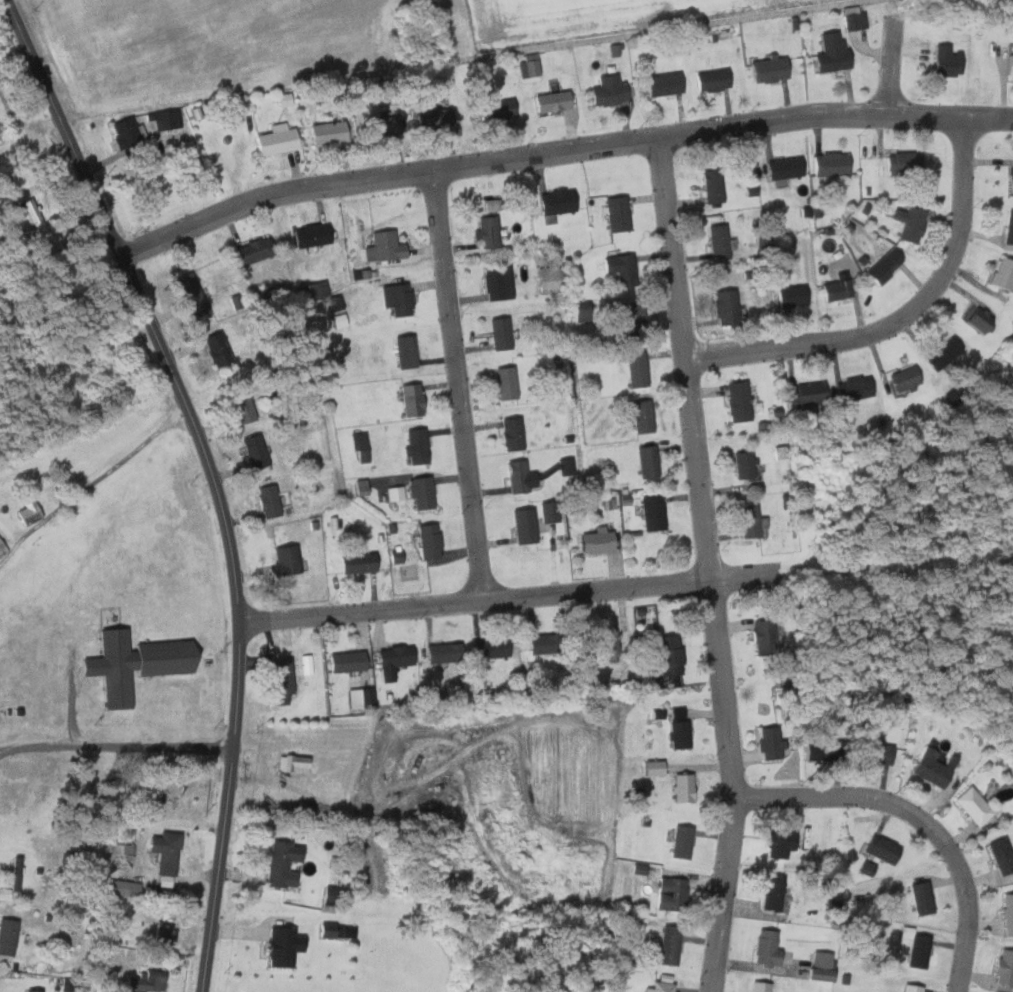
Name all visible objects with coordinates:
building: (852, 19)
building: (830, 53)
building: (945, 61)
road: (893, 65)
building: (1010, 67)
building: (767, 70)
building: (710, 81)
building: (662, 85)
building: (609, 88)
building: (552, 103)
building: (0, 104)
building: (496, 110)
building: (432, 120)
building: (381, 127)
building: (326, 133)
building: (133, 135)
building: (275, 140)
road: (561, 152)
building: (902, 164)
building: (829, 165)
building: (783, 169)
building: (1011, 181)
building: (713, 186)
building: (556, 202)
road: (99, 206)
building: (617, 214)
building: (36, 216)
building: (908, 224)
building: (1009, 229)
building: (488, 232)
building: (310, 236)
building: (762, 239)
building: (718, 242)
building: (384, 247)
building: (252, 251)
building: (882, 266)
building: (621, 269)
building: (1002, 274)
building: (551, 280)
building: (498, 283)
building: (836, 288)
building: (312, 291)
building: (191, 295)
building: (792, 296)
building: (397, 299)
building: (335, 302)
building: (725, 307)
building: (633, 318)
road: (903, 319)
building: (978, 319)
building: (337, 321)
building: (500, 334)
building: (216, 351)
building: (405, 352)
building: (941, 354)
building: (636, 369)
building: (904, 379)
building: (506, 383)
road: (457, 385)
building: (853, 389)
building: (805, 394)
building: (411, 400)
building: (737, 401)
building: (240, 407)
building: (640, 416)
road: (180, 423)
building: (512, 434)
building: (361, 446)
building: (416, 446)
building: (254, 452)
building: (647, 462)
building: (743, 465)
building: (517, 476)
road: (94, 481)
building: (421, 493)
building: (268, 502)
building: (31, 510)
building: (549, 512)
building: (652, 514)
building: (748, 522)
building: (524, 526)
building: (428, 541)
building: (595, 541)
building: (2, 550)
building: (393, 557)
building: (285, 560)
building: (357, 563)
road: (710, 565)
road: (755, 576)
road: (476, 601)
building: (764, 637)
building: (546, 644)
building: (602, 644)
building: (491, 649)
building: (443, 653)
building: (669, 656)
building: (396, 657)
building: (347, 662)
building: (139, 664)
building: (282, 677)
road: (238, 699)
building: (678, 735)
building: (768, 744)
road: (116, 746)
building: (821, 751)
building: (875, 754)
building: (295, 764)
building: (652, 769)
building: (930, 769)
building: (683, 788)
building: (973, 806)
building: (152, 809)
road: (921, 818)
building: (785, 842)
building: (682, 843)
building: (124, 849)
building: (880, 853)
building: (1004, 854)
building: (168, 860)
building: (285, 861)
building: (18, 873)
building: (124, 888)
building: (776, 891)
building: (673, 893)
building: (925, 897)
building: (1010, 913)
building: (168, 928)
building: (328, 929)
building: (9, 937)
building: (672, 944)
building: (770, 946)
building: (919, 946)
building: (284, 947)
building: (826, 965)
building: (1006, 967)
building: (150, 982)
building: (763, 986)
building: (662, 987)
building: (914, 987)
building: (37, 991)

